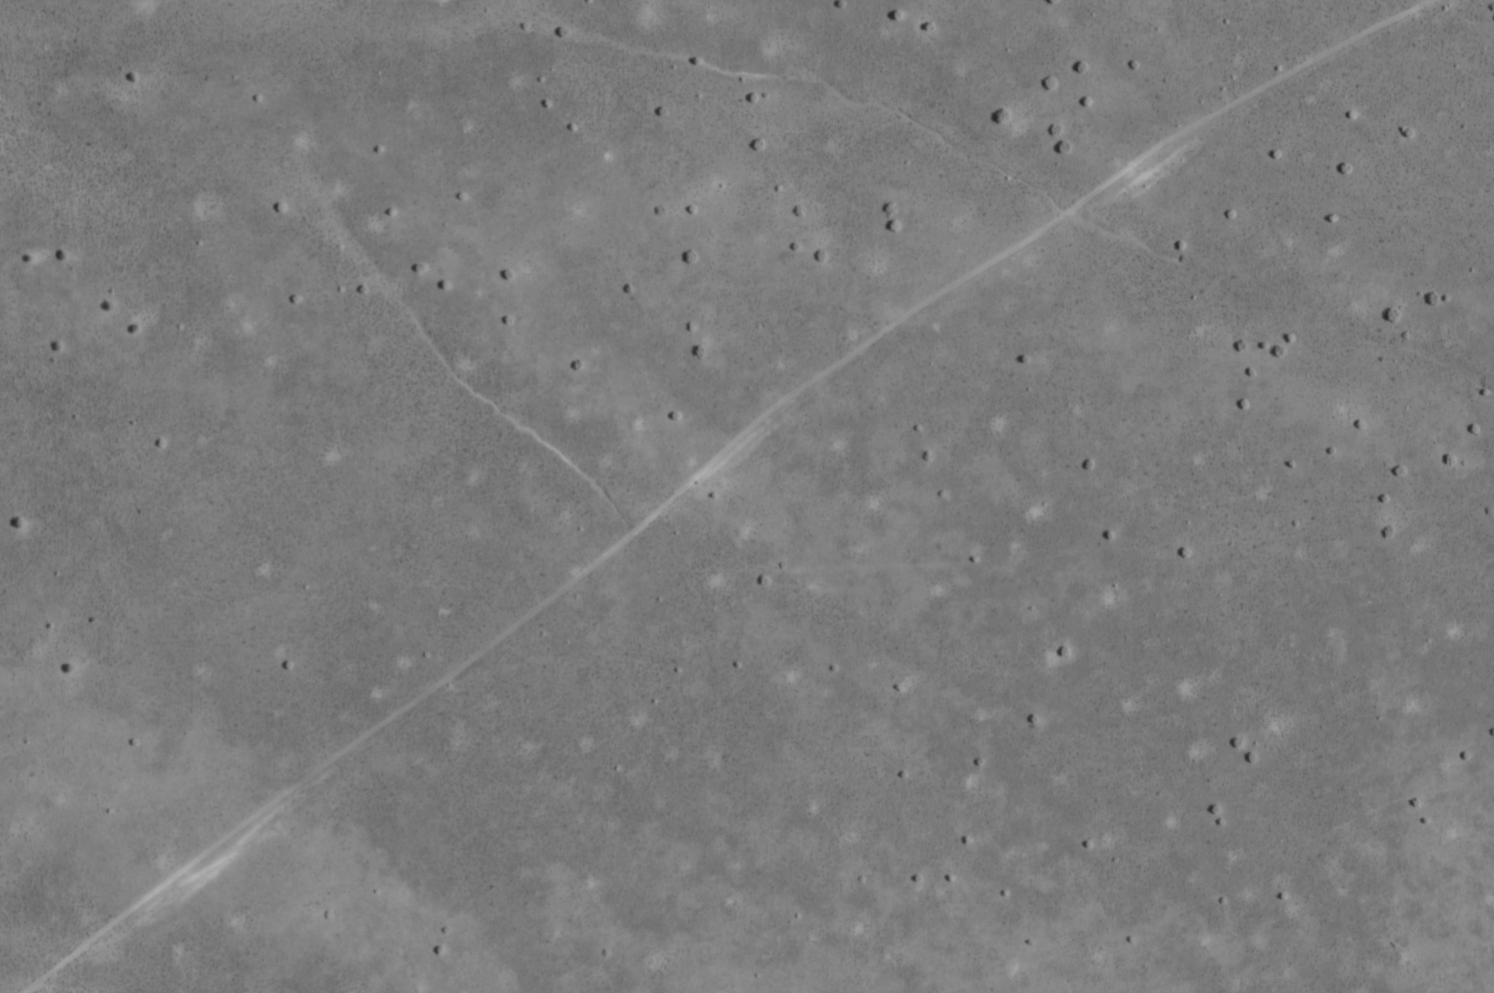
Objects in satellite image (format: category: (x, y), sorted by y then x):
road: (706, 472)

